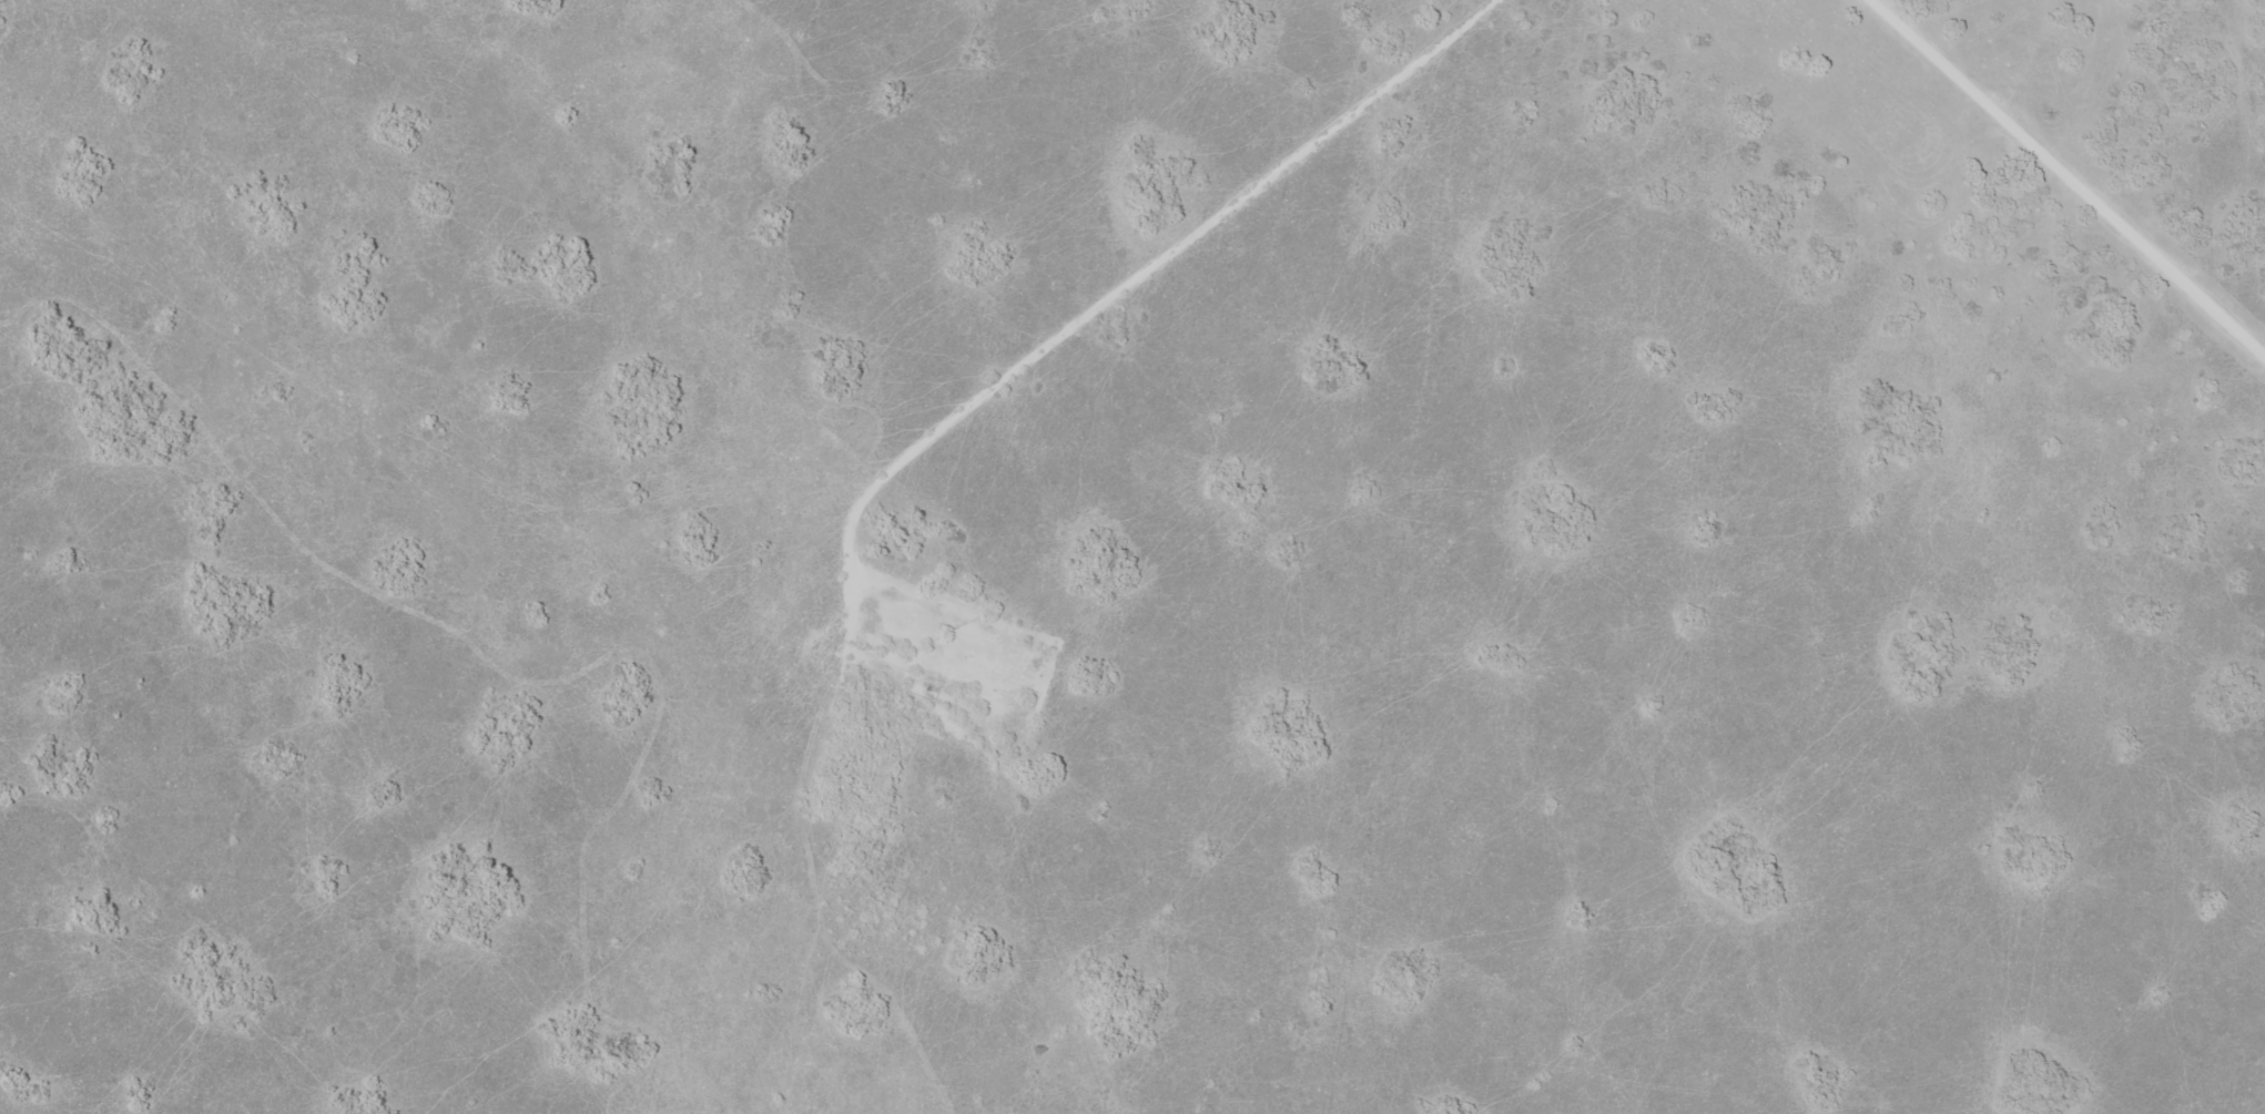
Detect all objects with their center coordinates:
road: (2053, 183)

